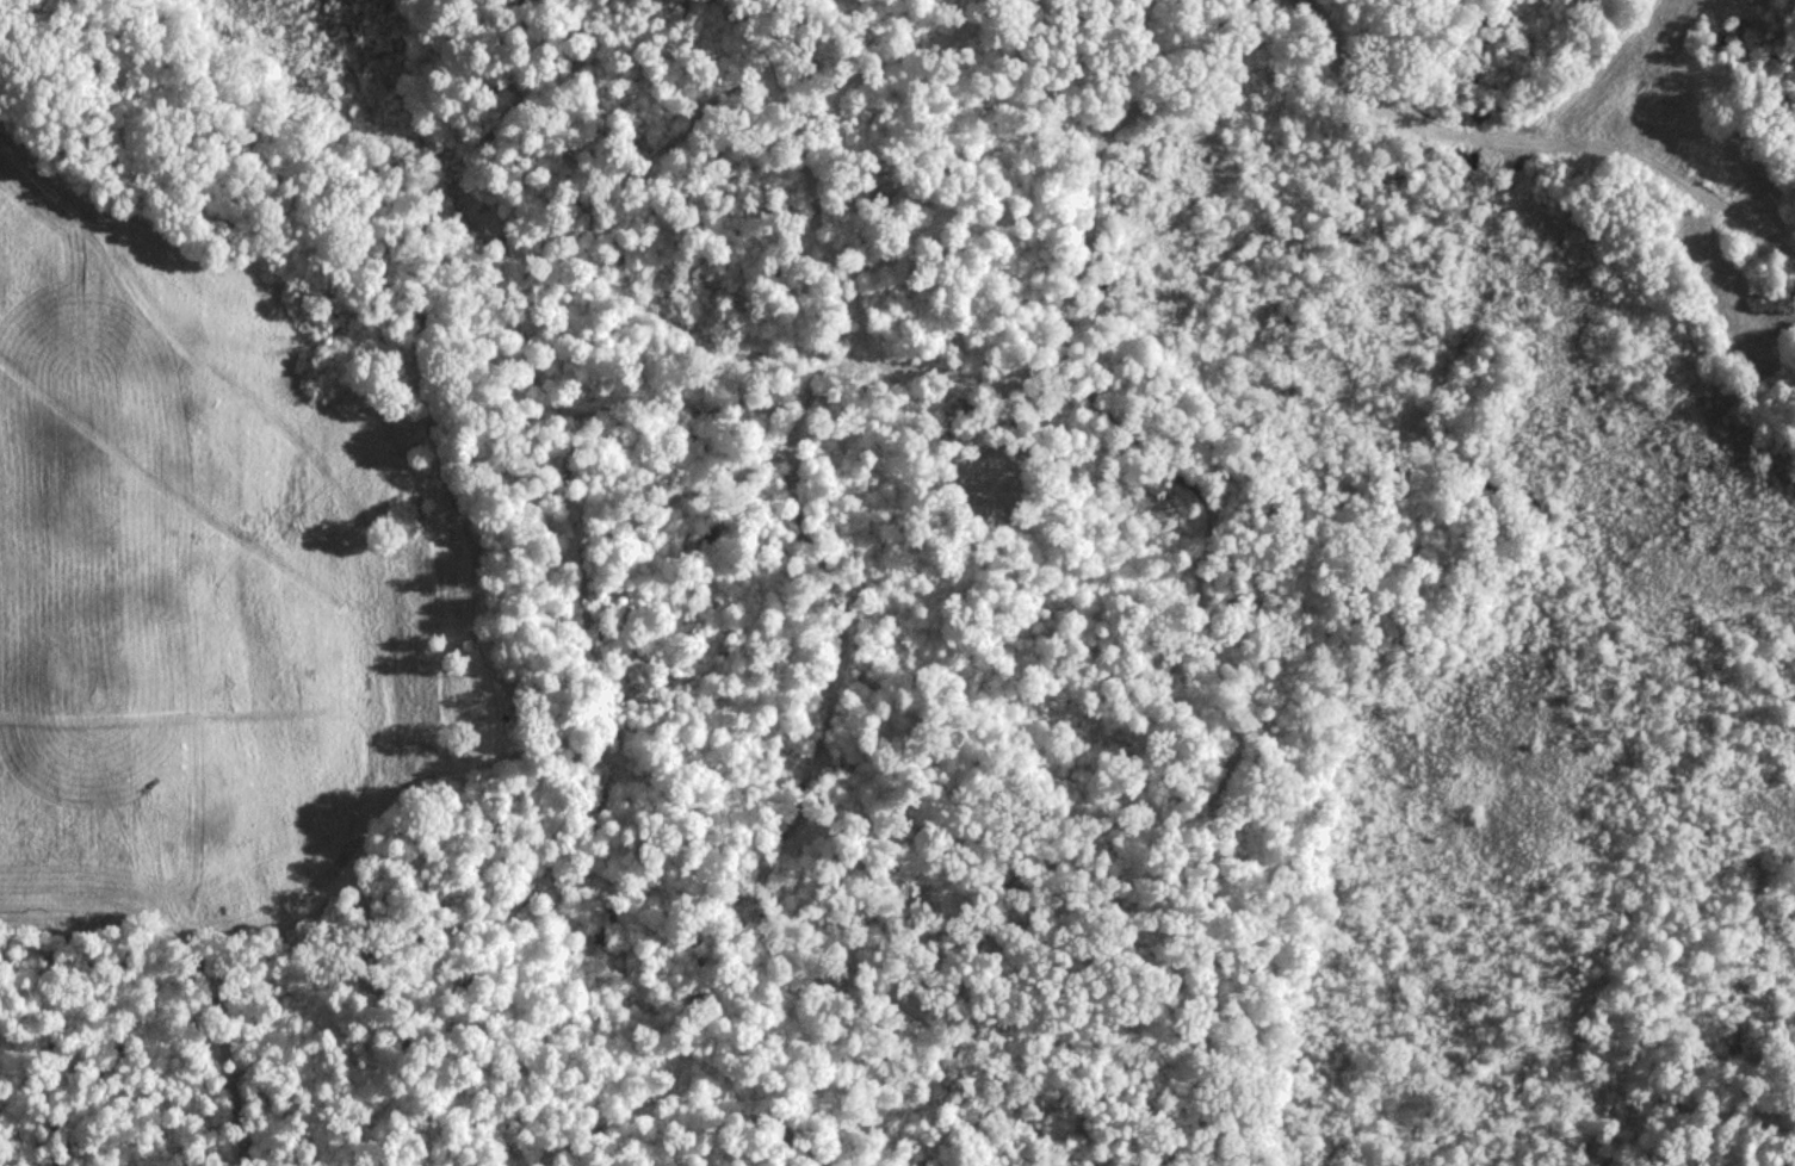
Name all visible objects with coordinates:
road: (1530, 144)
road: (1079, 263)
road: (221, 1046)

